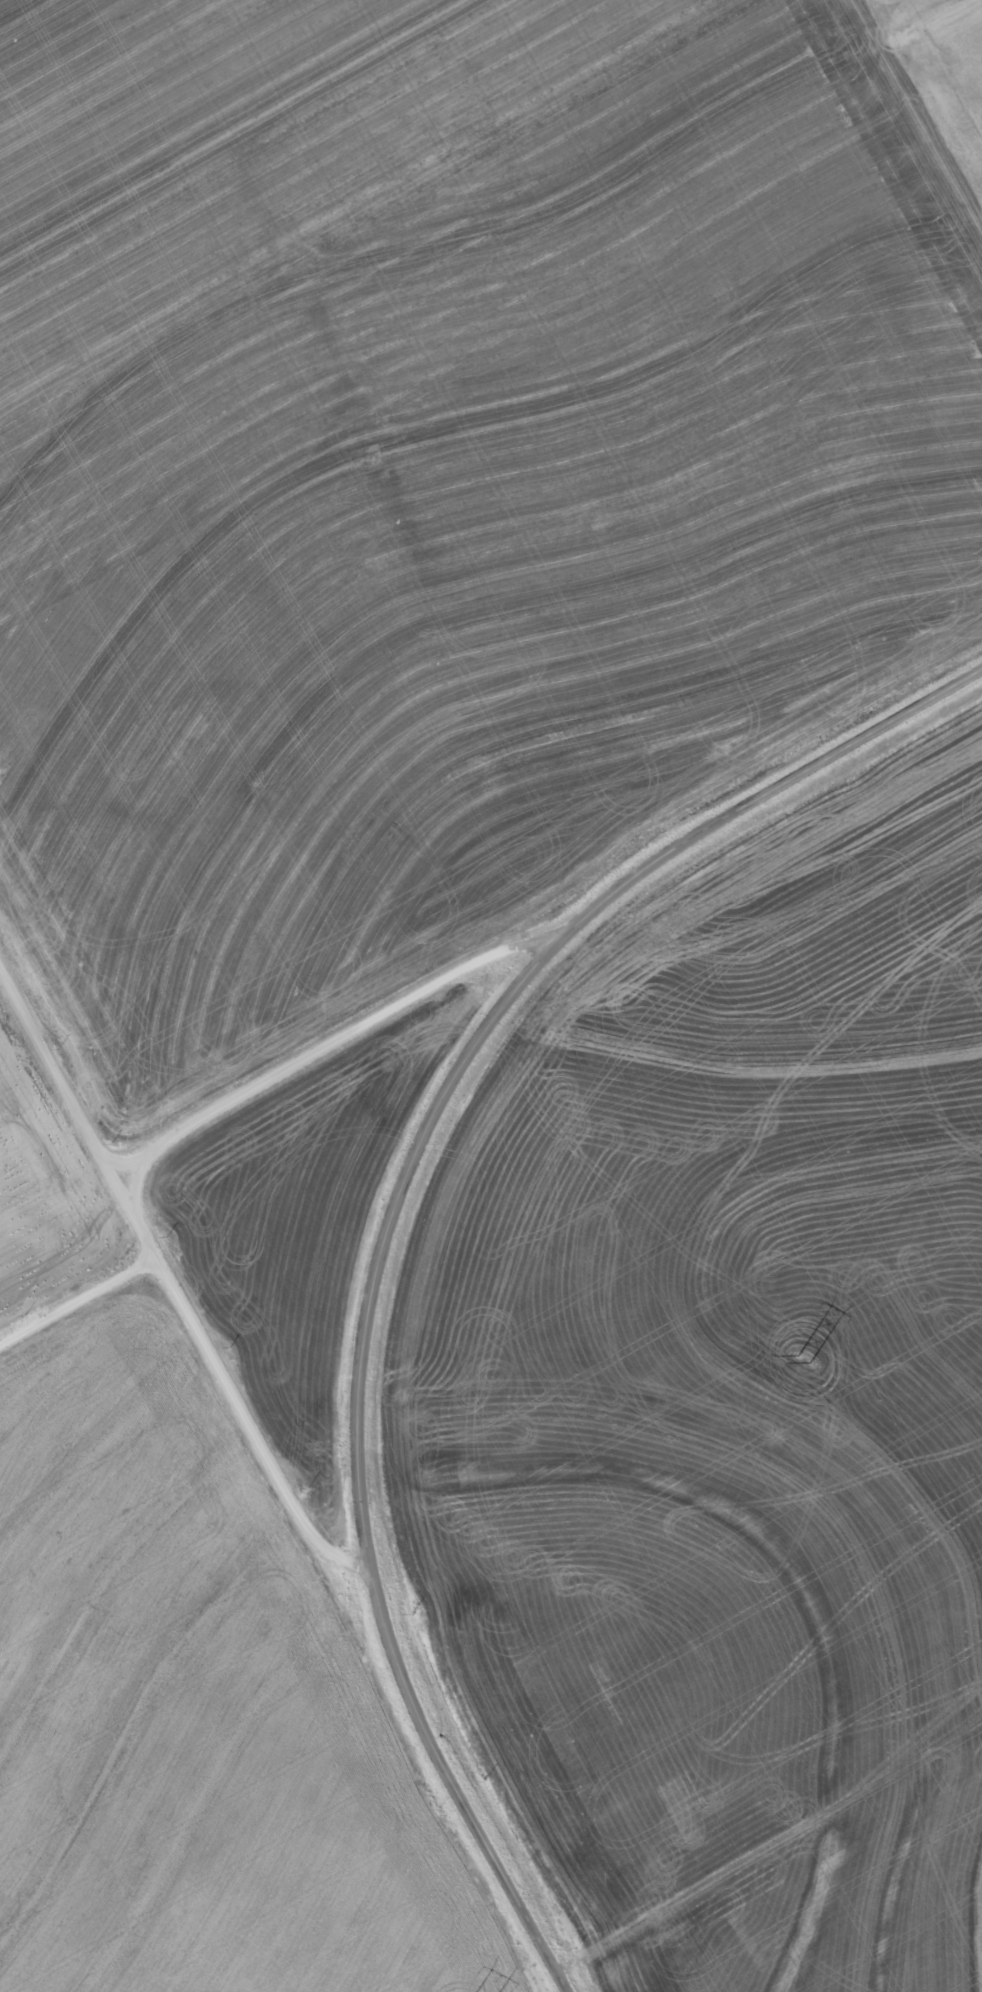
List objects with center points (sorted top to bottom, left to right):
road: (345, 1036)
road: (122, 1162)
road: (136, 1187)
road: (394, 1215)
road: (173, 1291)
road: (77, 1304)
power tower: (806, 1356)

